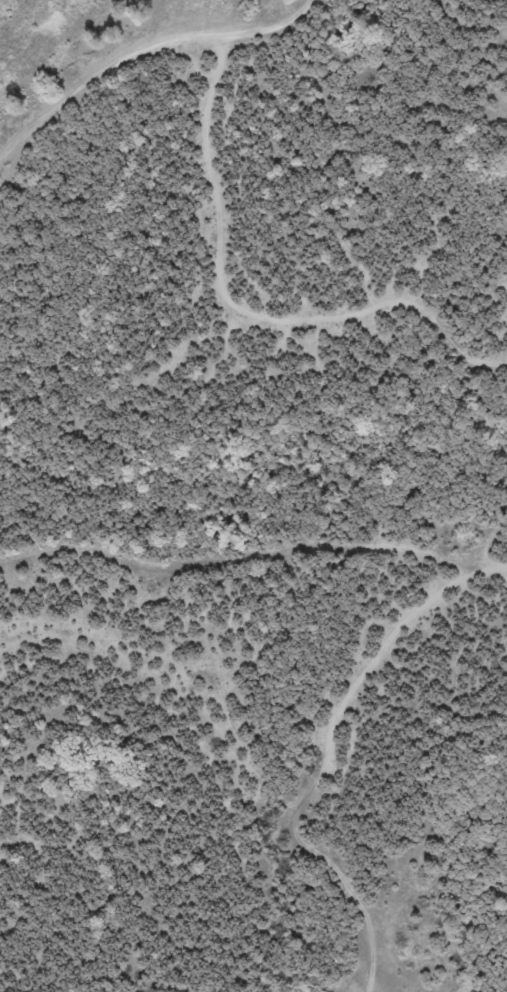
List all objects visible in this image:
road: (130, 37)

